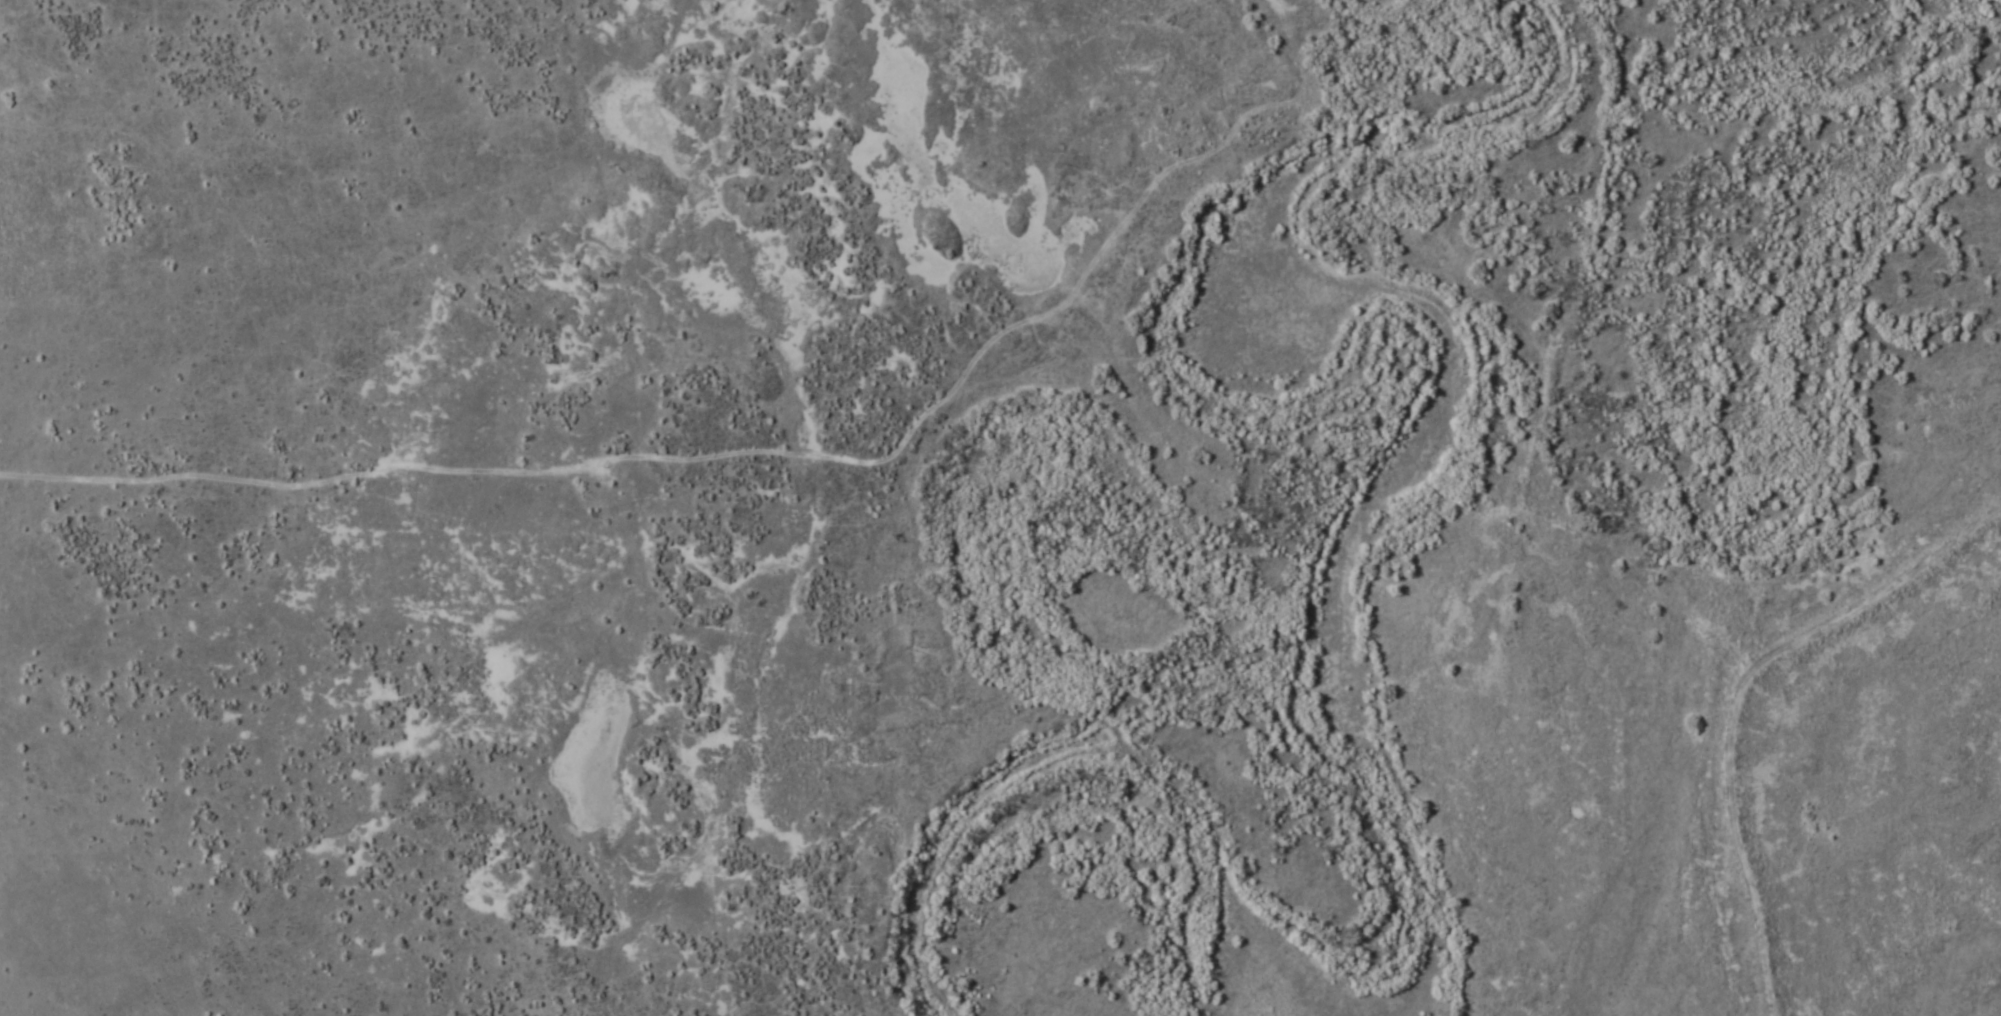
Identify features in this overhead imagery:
road: (1773, 750)

